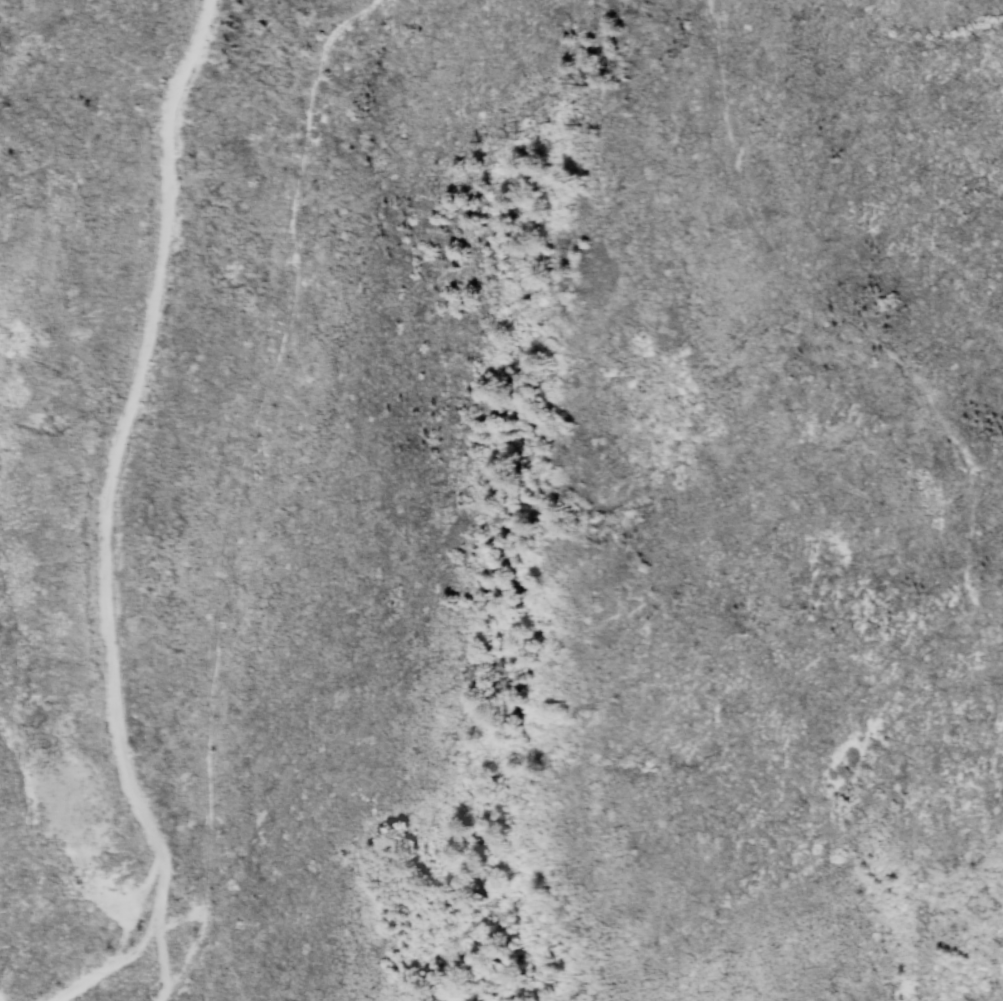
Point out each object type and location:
road: (804, 274)
road: (236, 490)
road: (96, 523)
road: (176, 920)
road: (156, 963)

